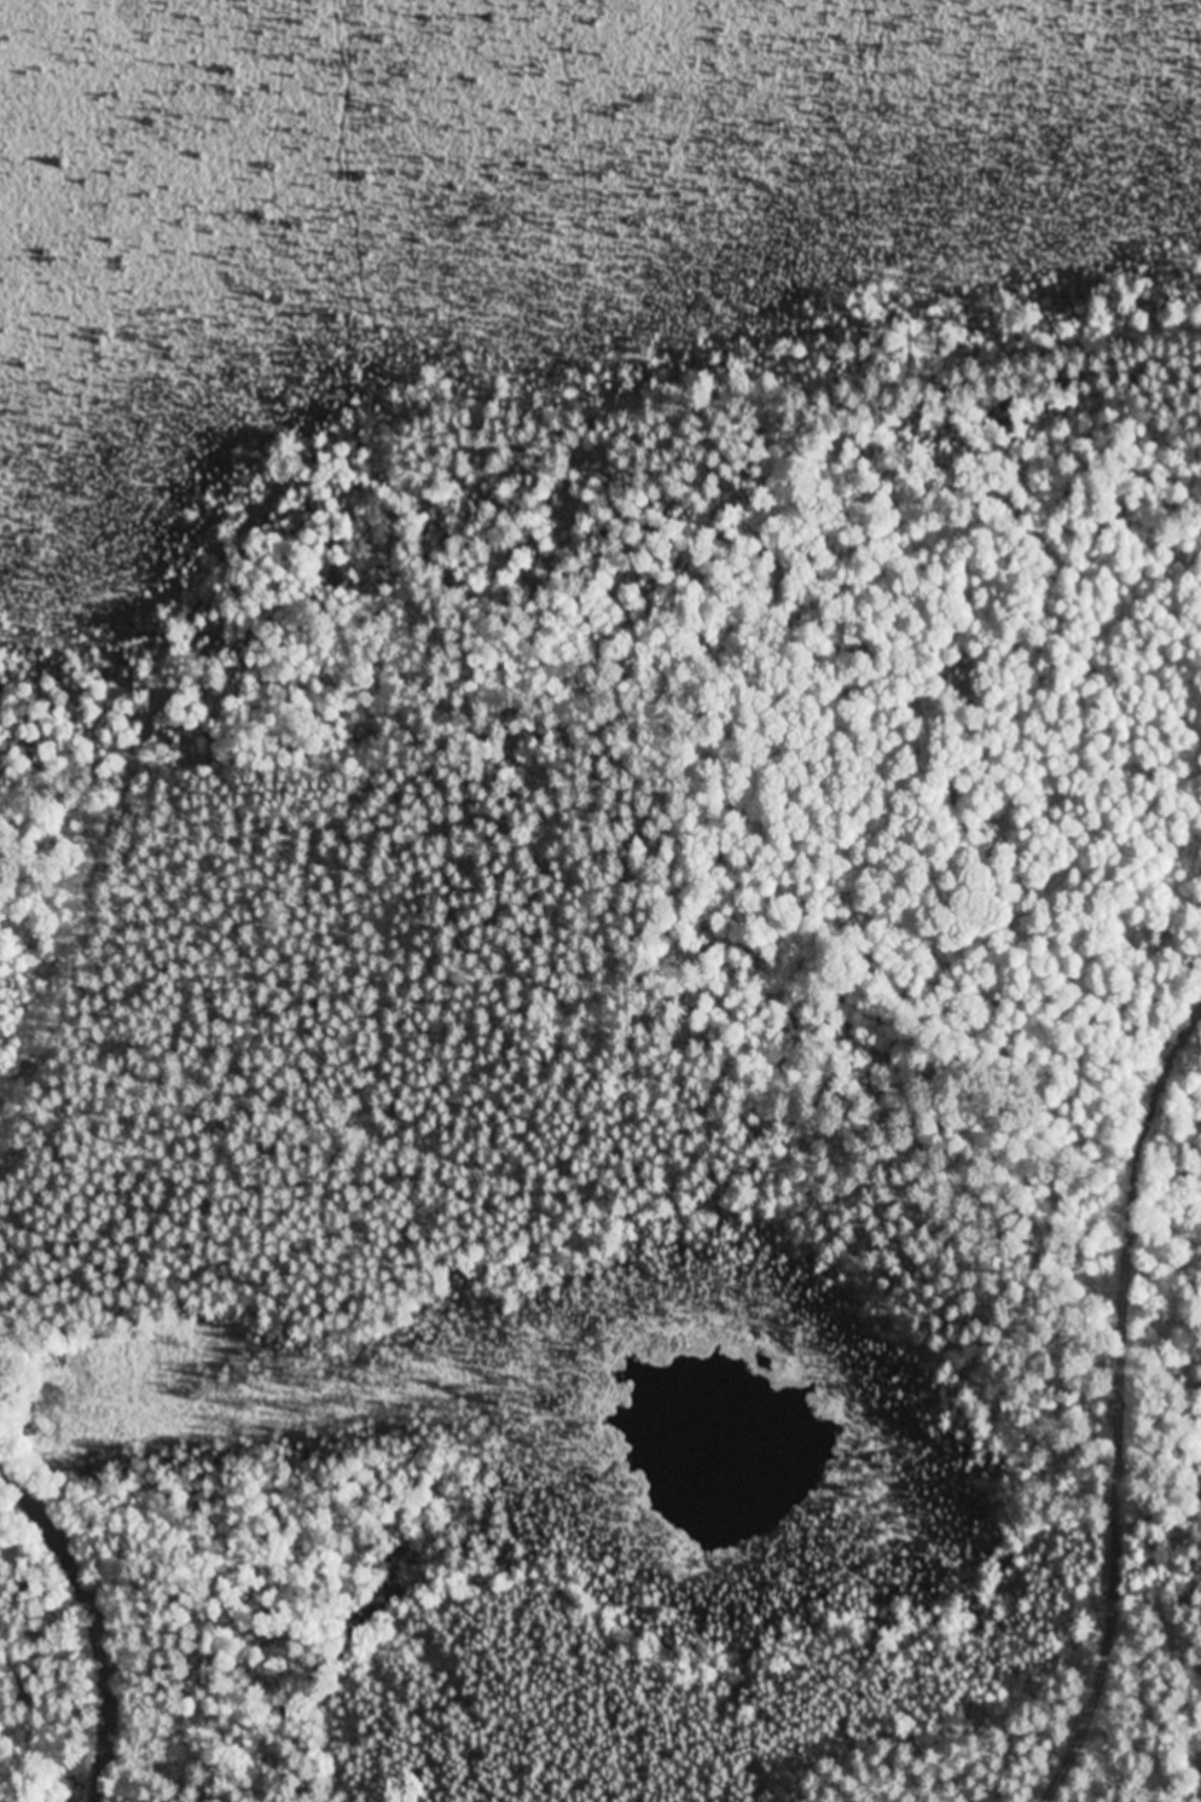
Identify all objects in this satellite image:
road: (108, 1611)

